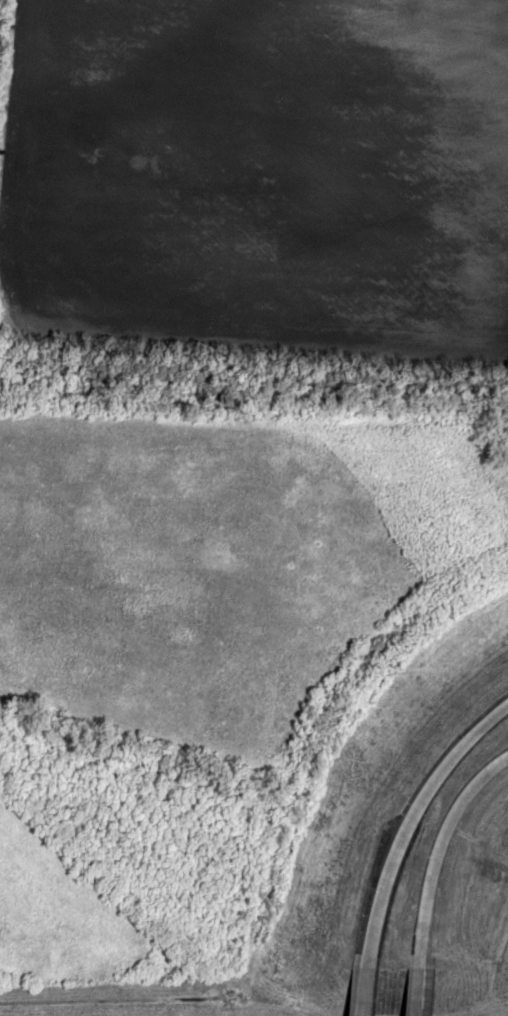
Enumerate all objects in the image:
road: (400, 820)
road: (430, 847)
road: (412, 993)
road: (352, 994)

